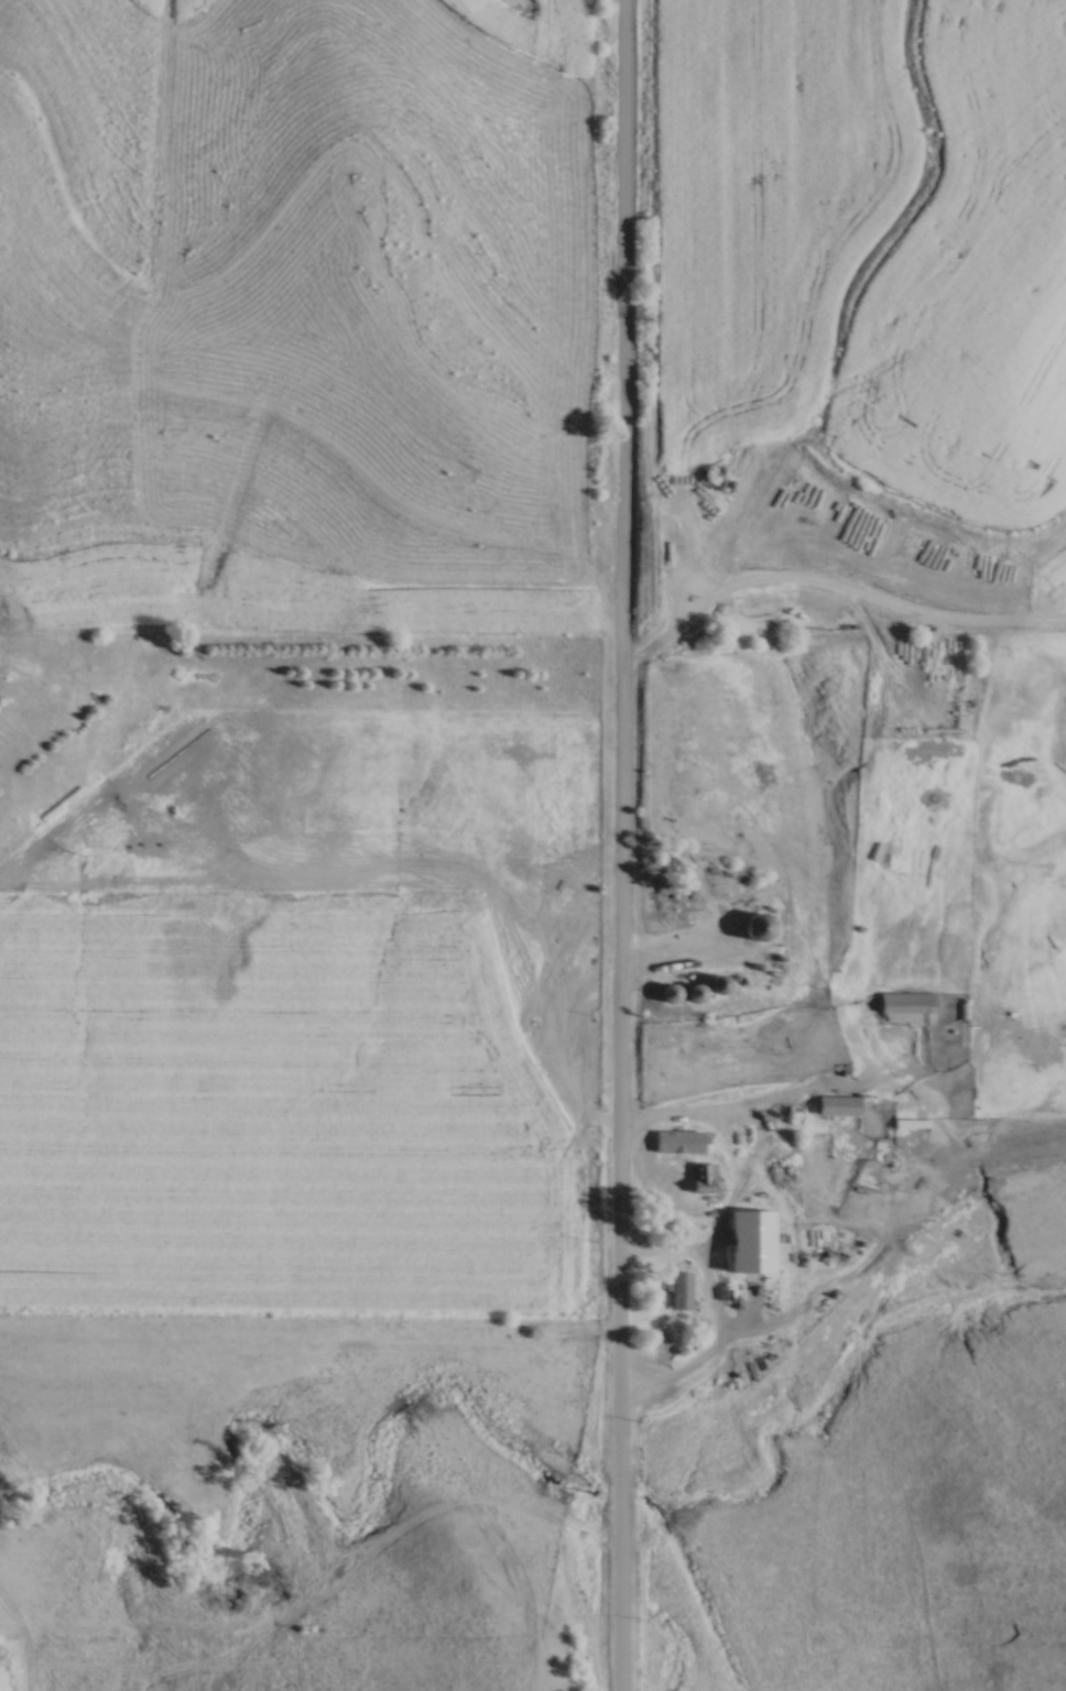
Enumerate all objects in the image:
building: (728, 483)
road: (622, 845)
building: (757, 925)
building: (907, 1001)
building: (838, 1103)
building: (681, 1138)
building: (705, 1175)
building: (683, 1288)
road: (709, 1309)

